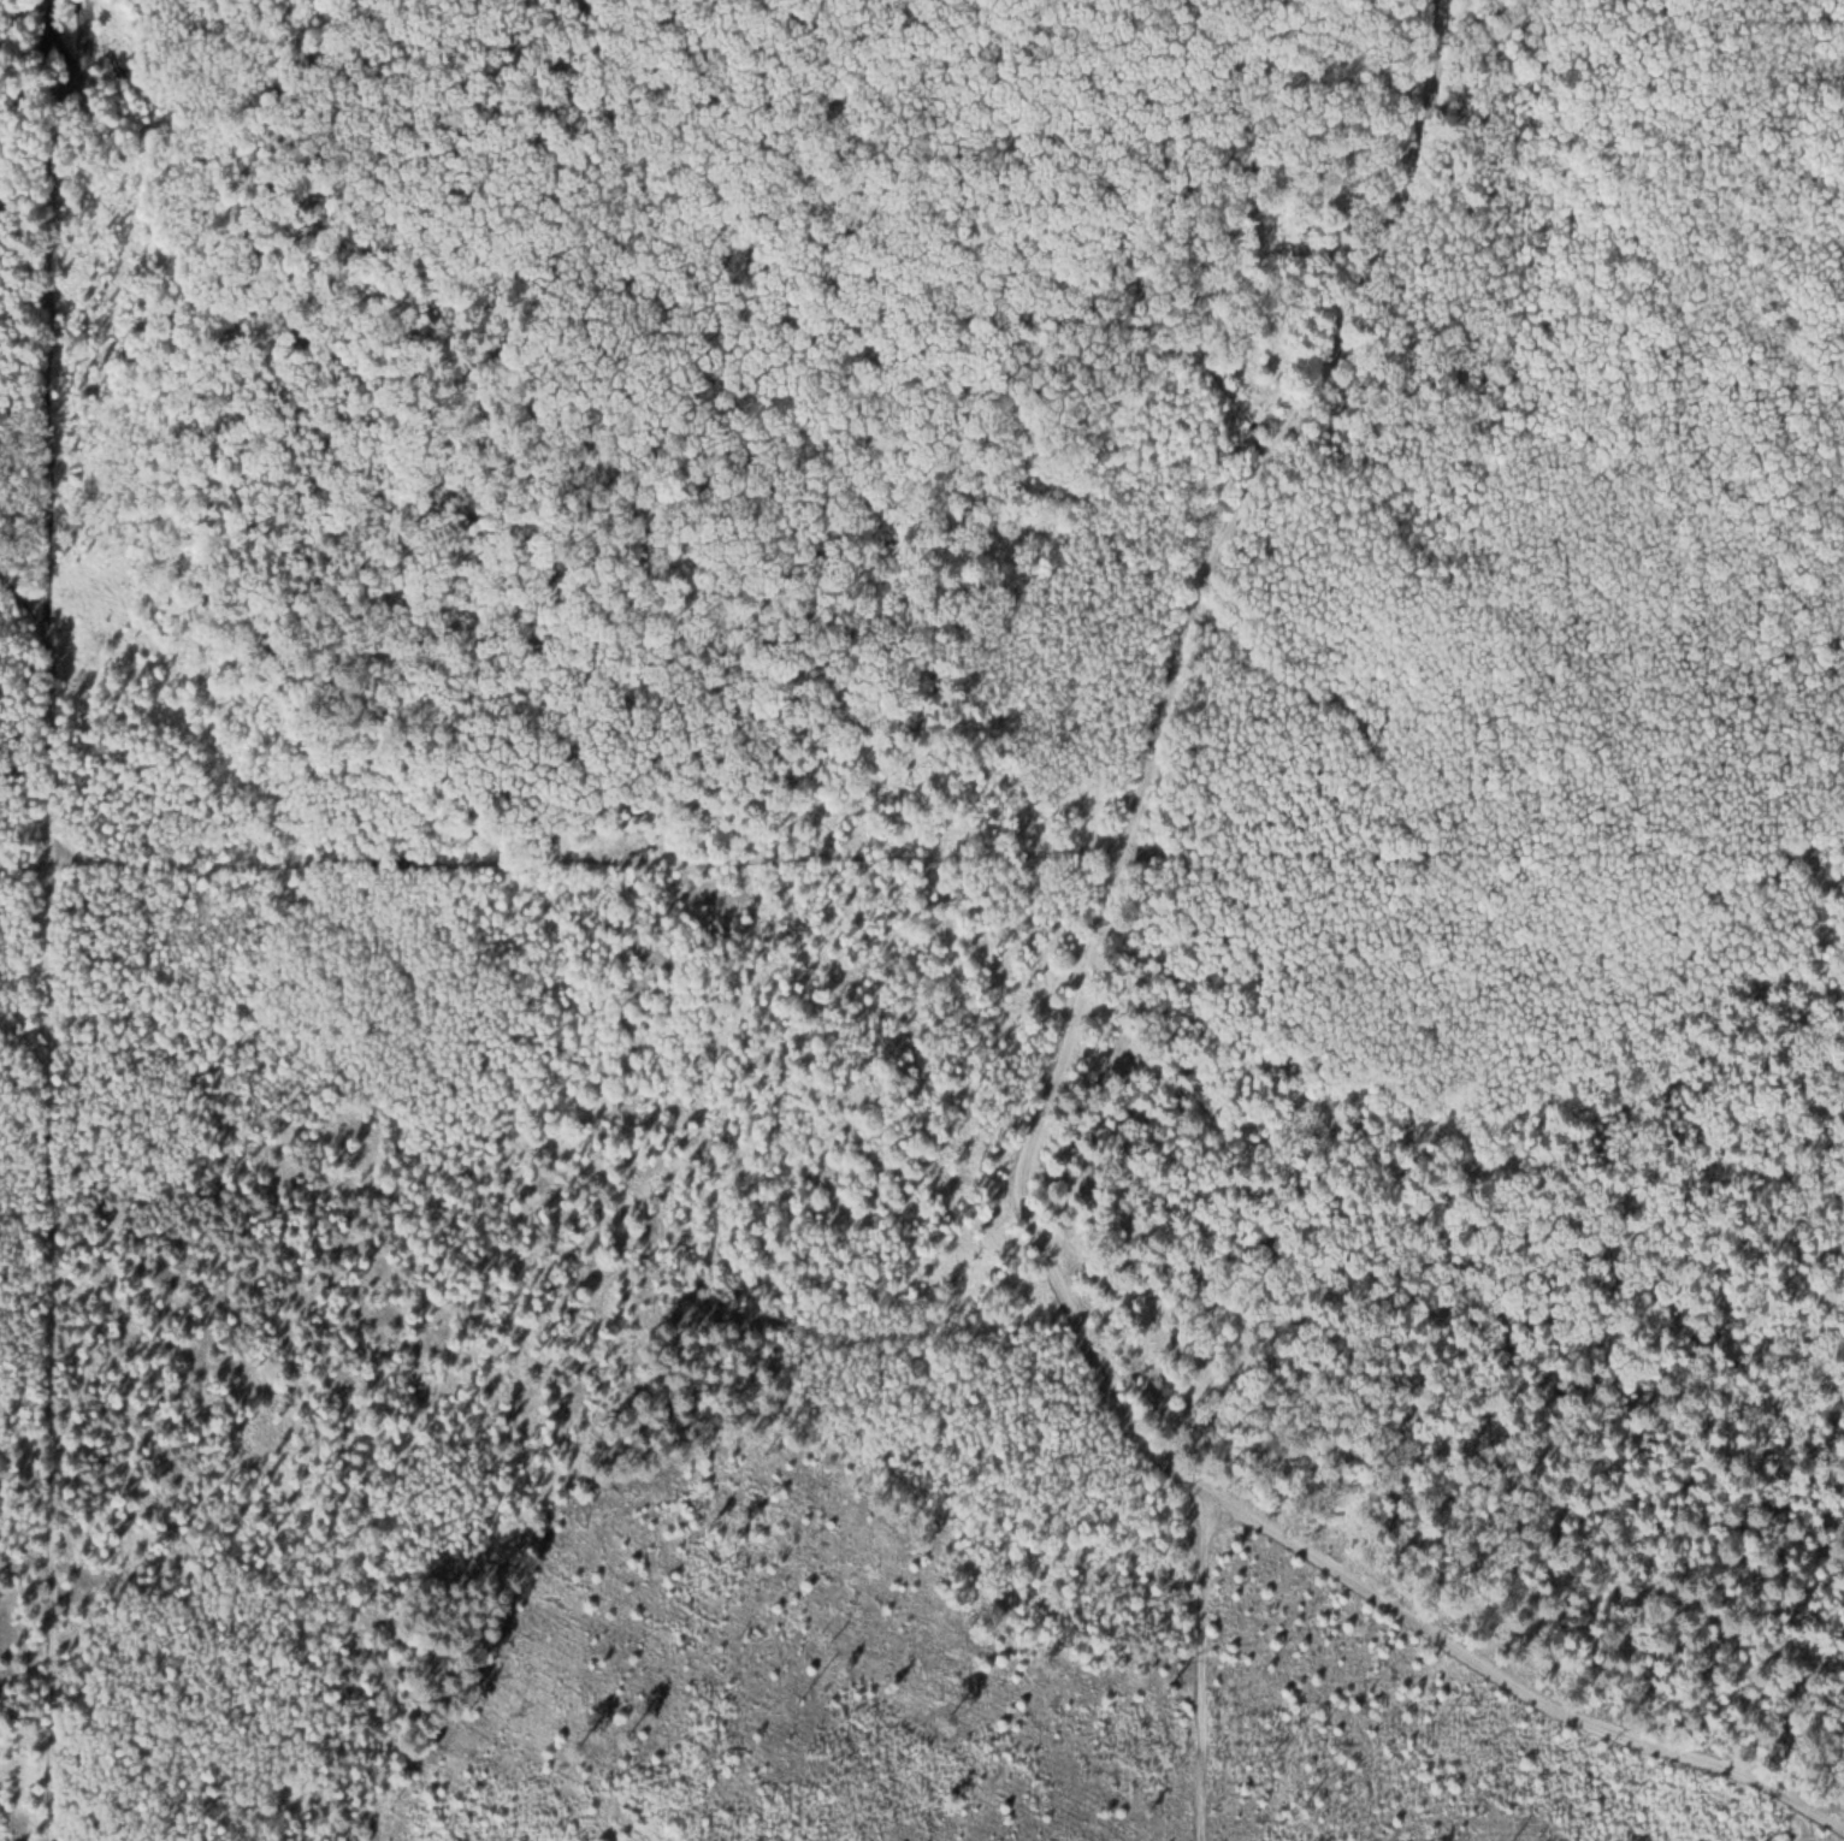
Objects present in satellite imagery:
road: (1222, 560)
road: (1484, 853)
road: (562, 866)
road: (49, 1201)
road: (24, 1559)
road: (1349, 1563)

